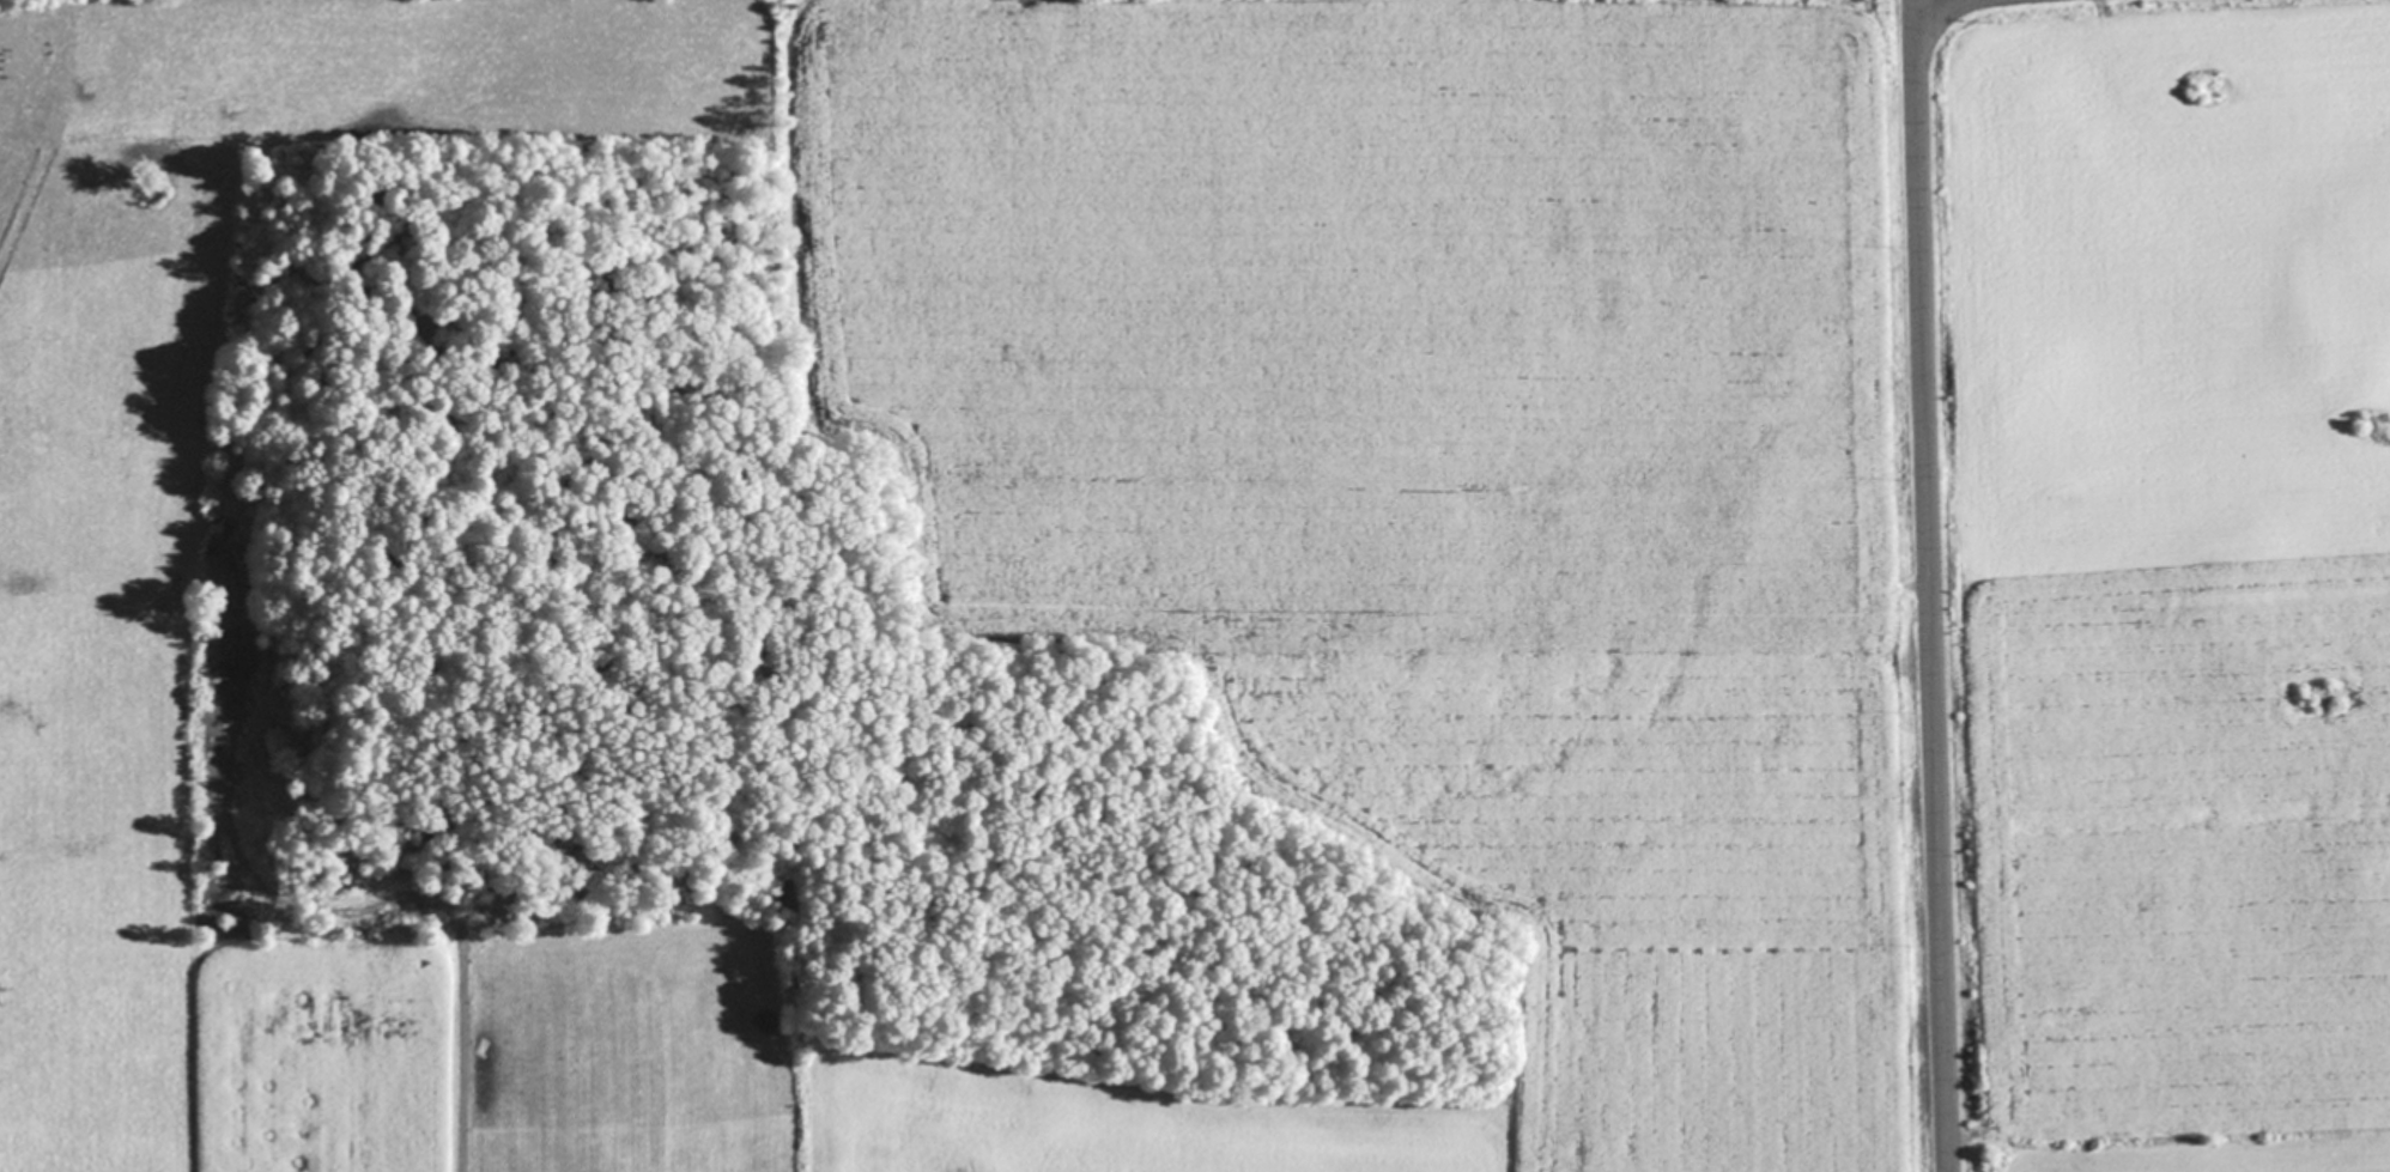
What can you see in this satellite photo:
road: (1925, 585)

